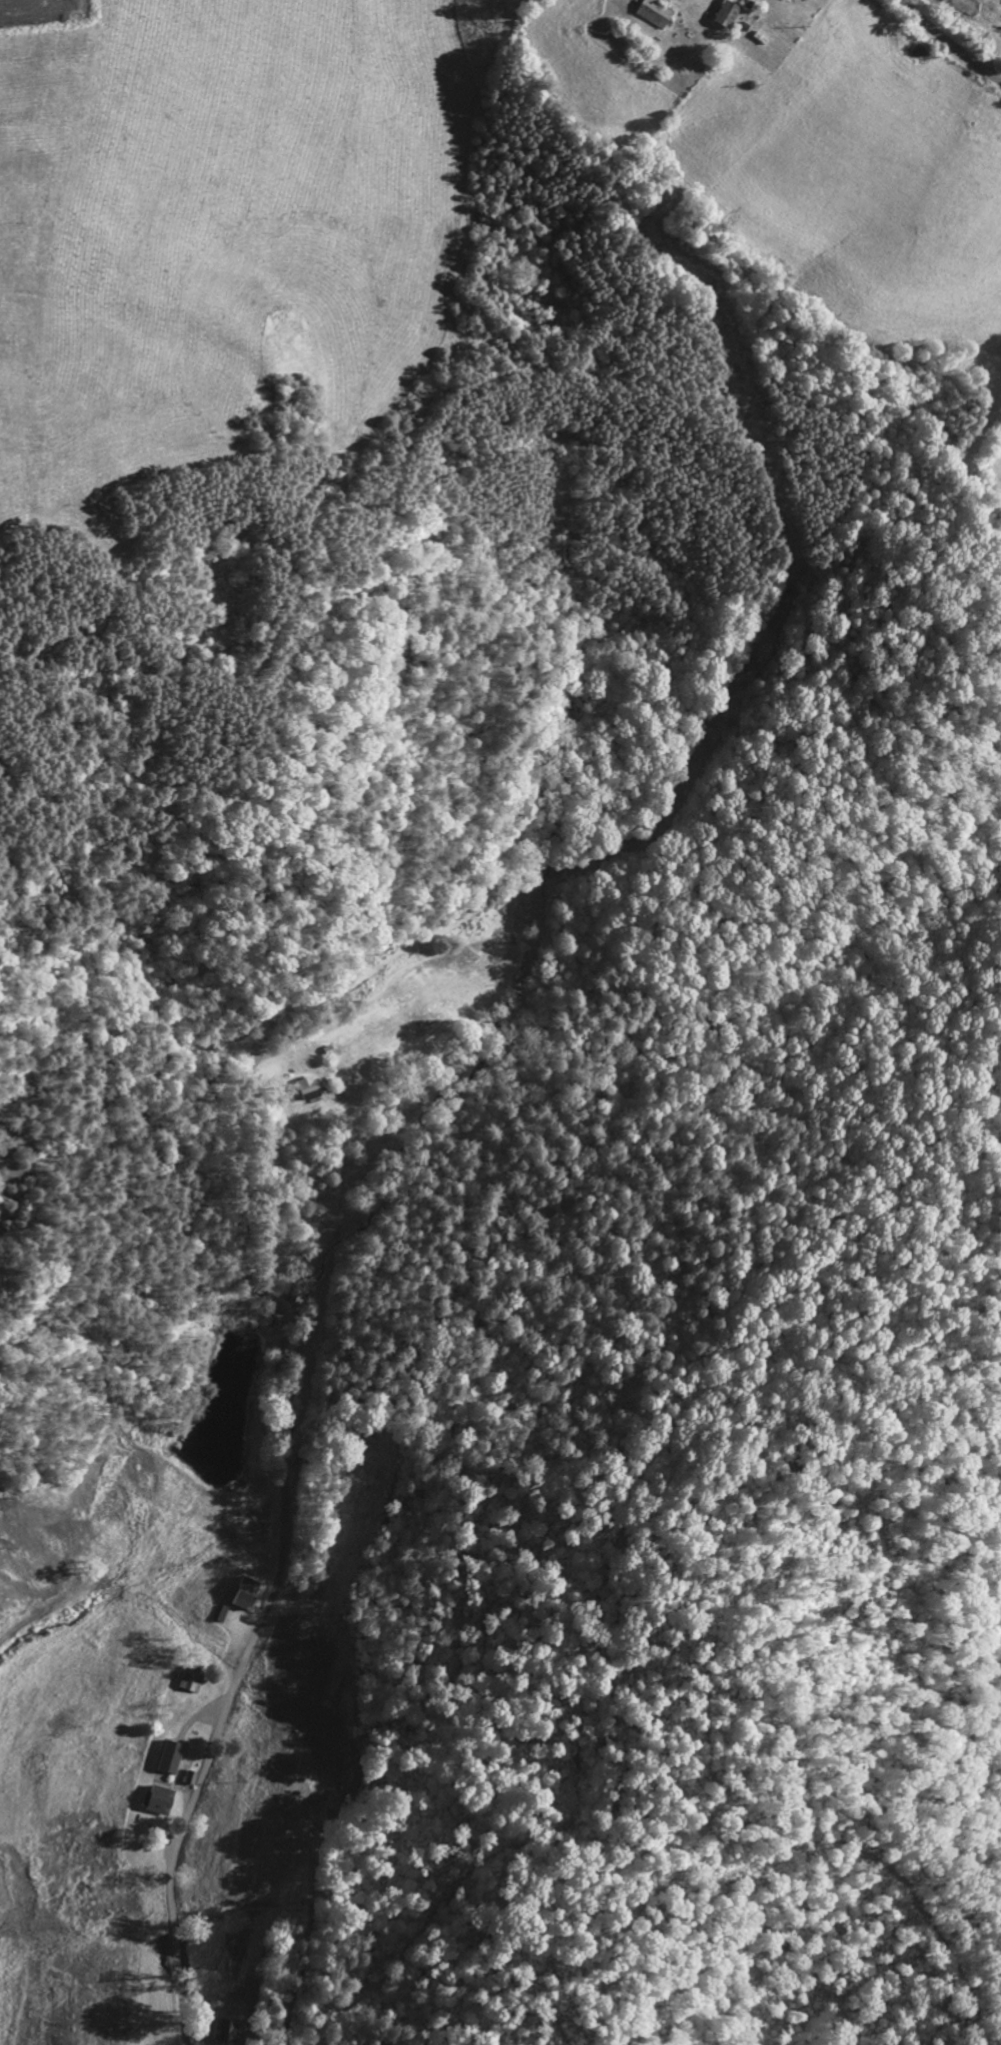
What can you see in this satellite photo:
building: (953, 0)
building: (657, 13)
building: (730, 13)
road: (949, 42)
road: (298, 1016)
building: (310, 1088)
building: (249, 1593)
building: (224, 1612)
building: (192, 1681)
building: (171, 1756)
building: (159, 1800)
building: (228, 2030)

